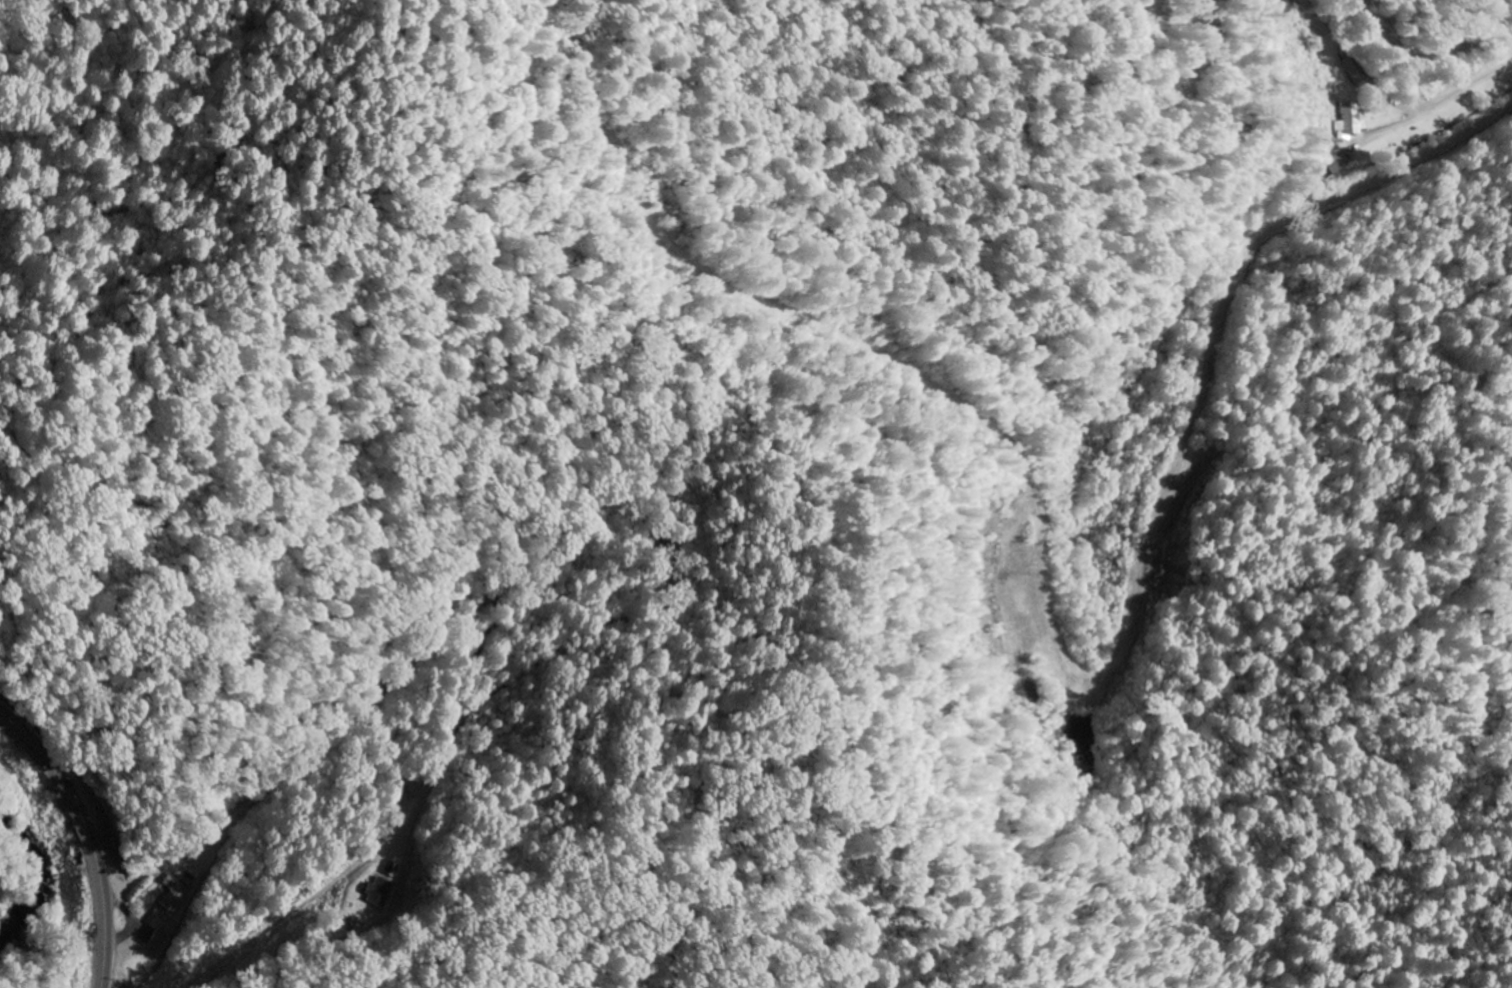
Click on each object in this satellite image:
building: (1349, 121)
road: (86, 838)
building: (390, 869)
river: (32, 881)
building: (376, 891)
building: (174, 896)
building: (158, 941)

